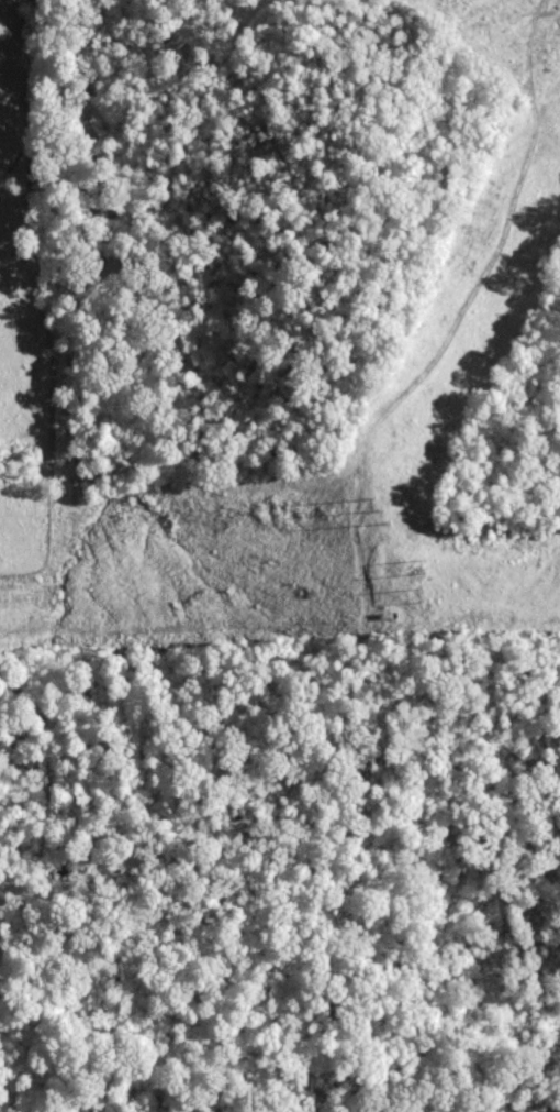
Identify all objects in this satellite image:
power tower: (422, 577)

